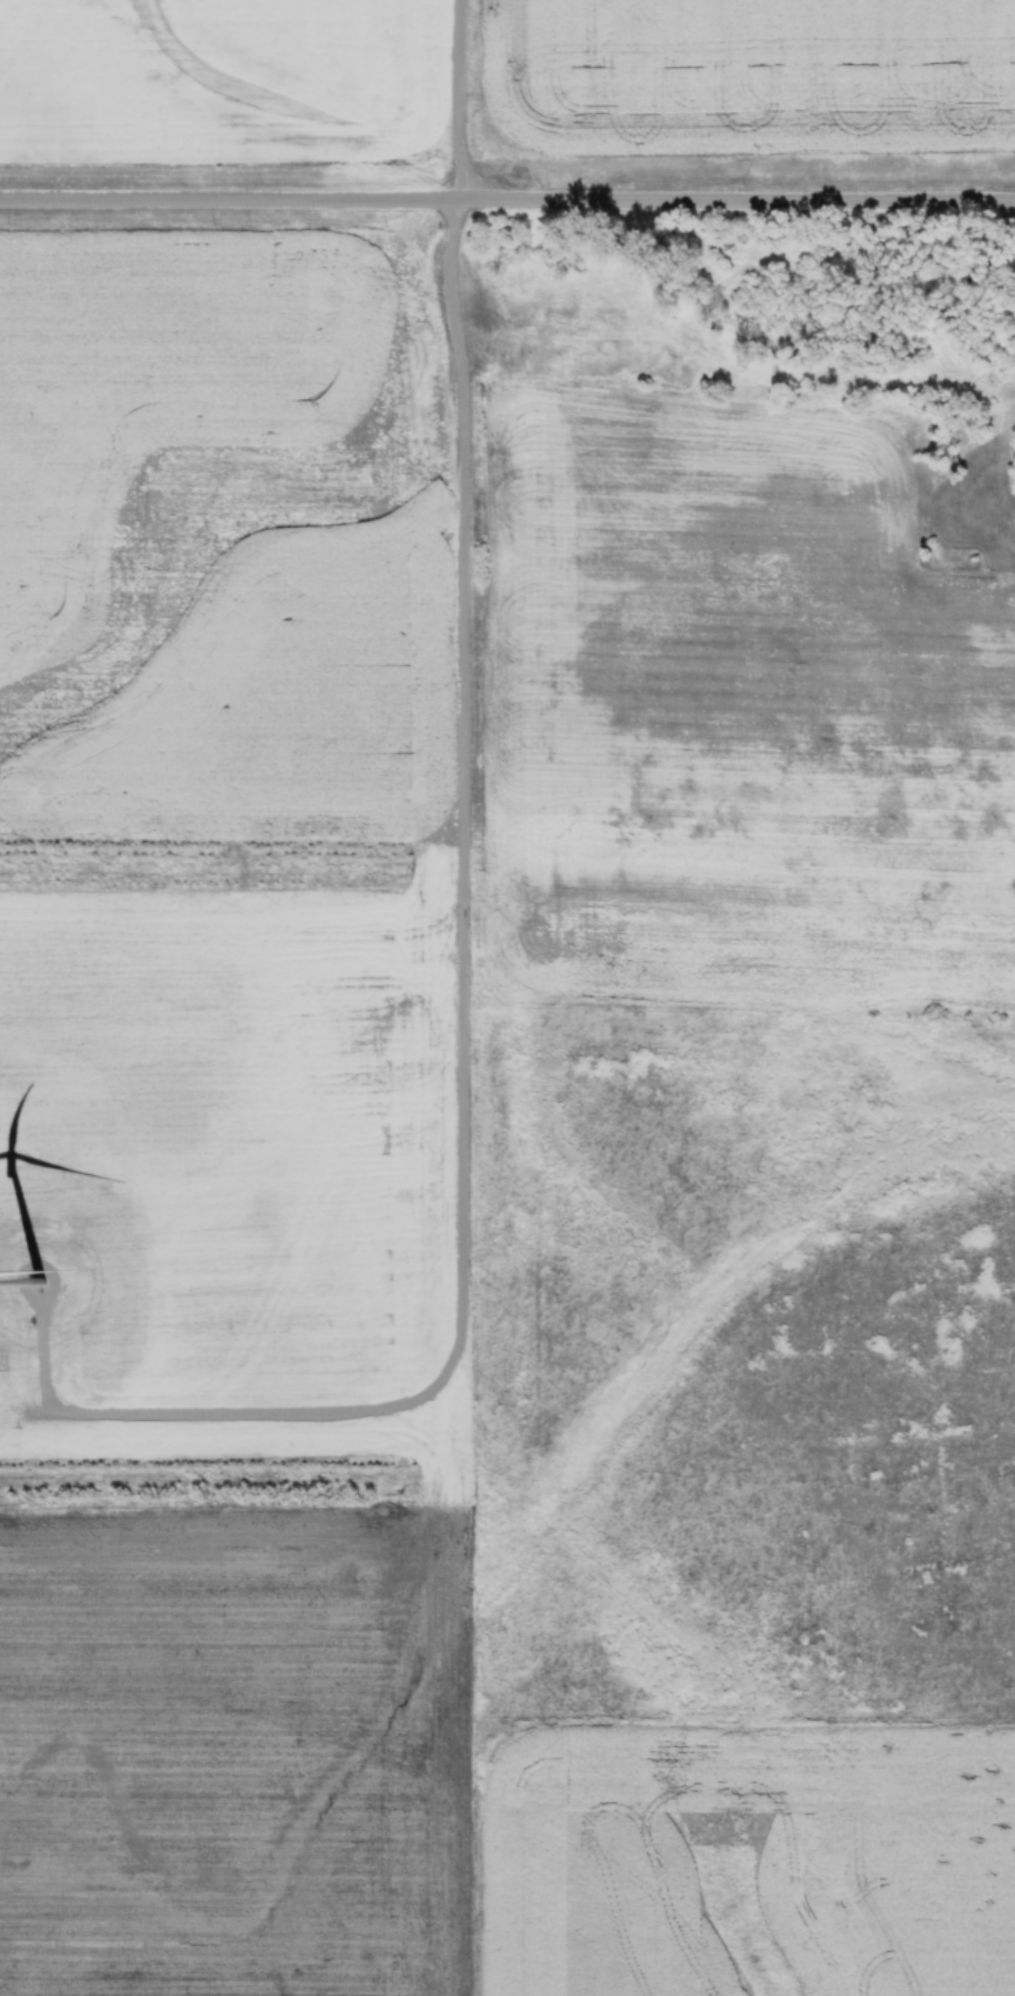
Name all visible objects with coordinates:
road: (451, 98)
road: (507, 196)
road: (461, 1035)
wind turbine: (44, 1287)

